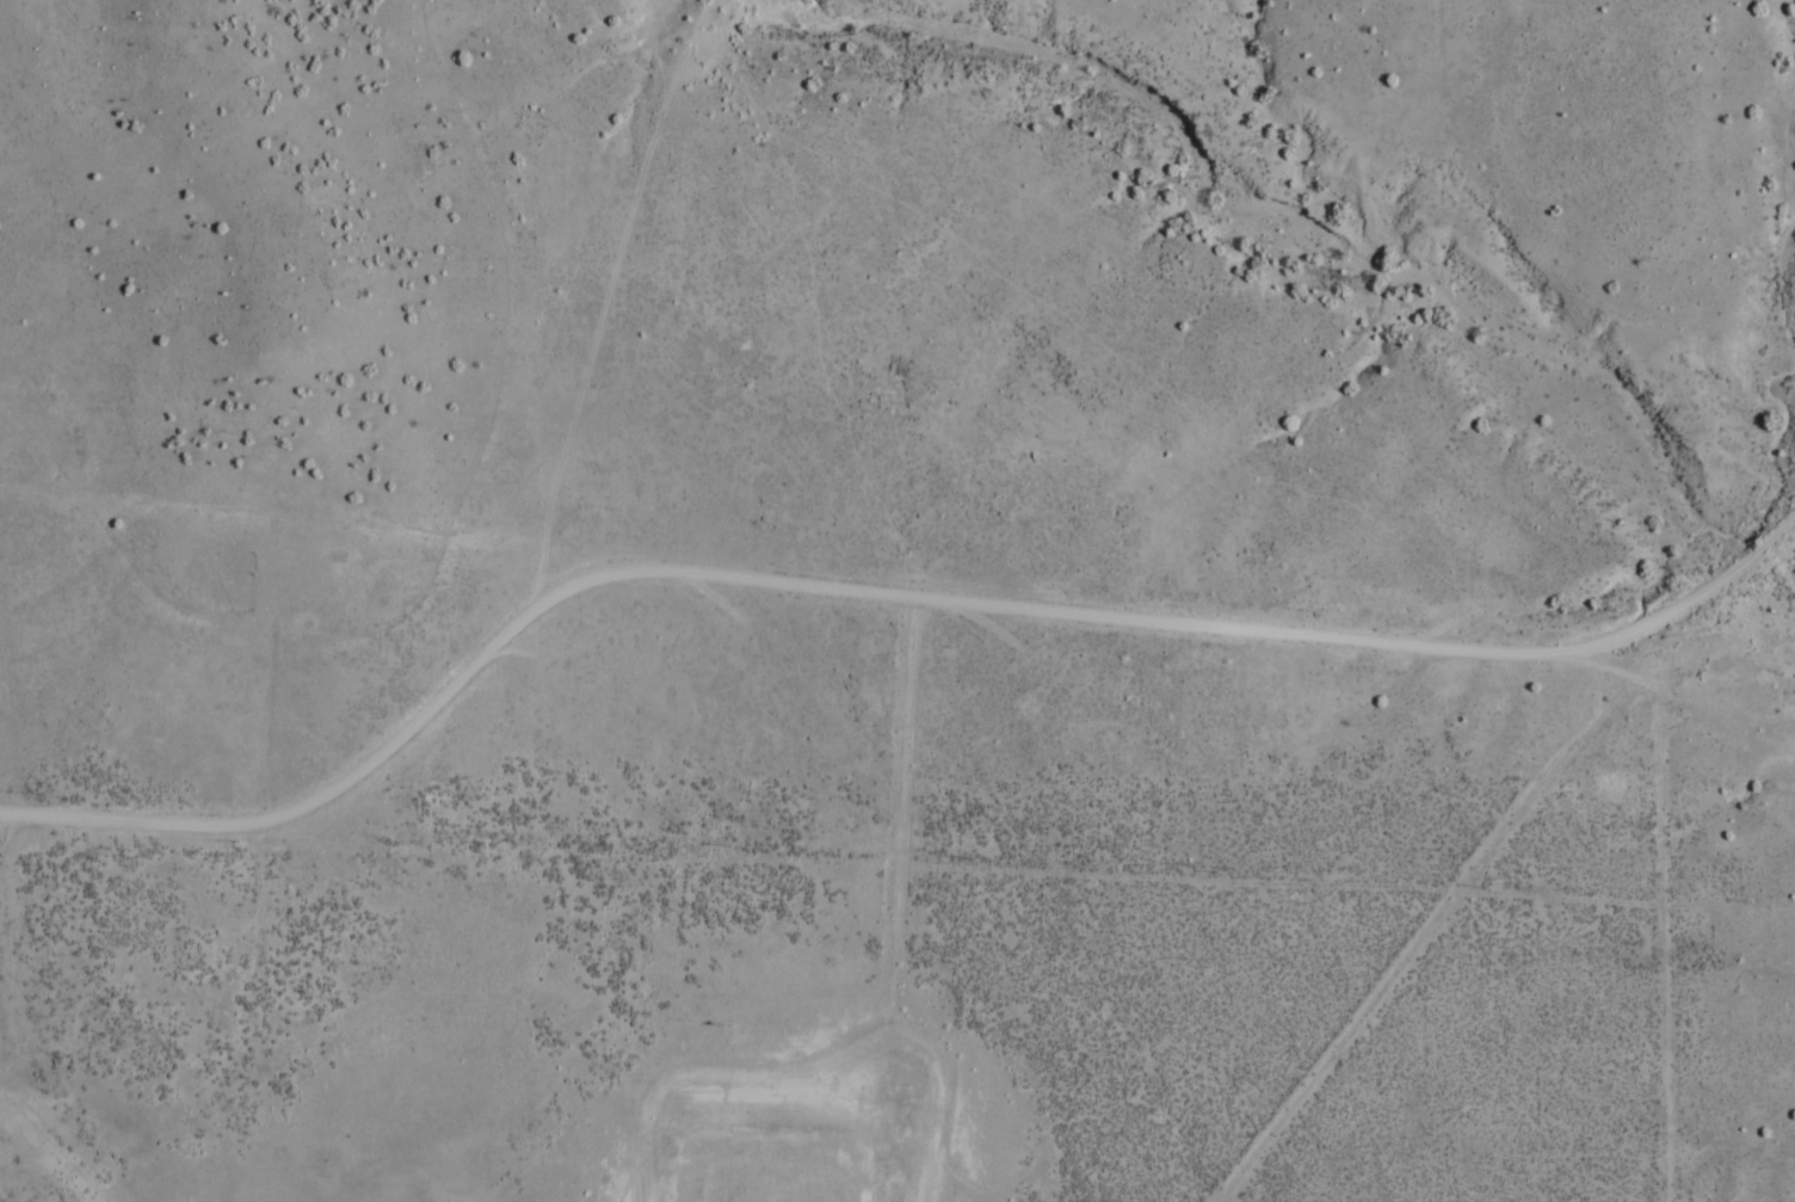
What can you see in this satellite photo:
road: (899, 844)

